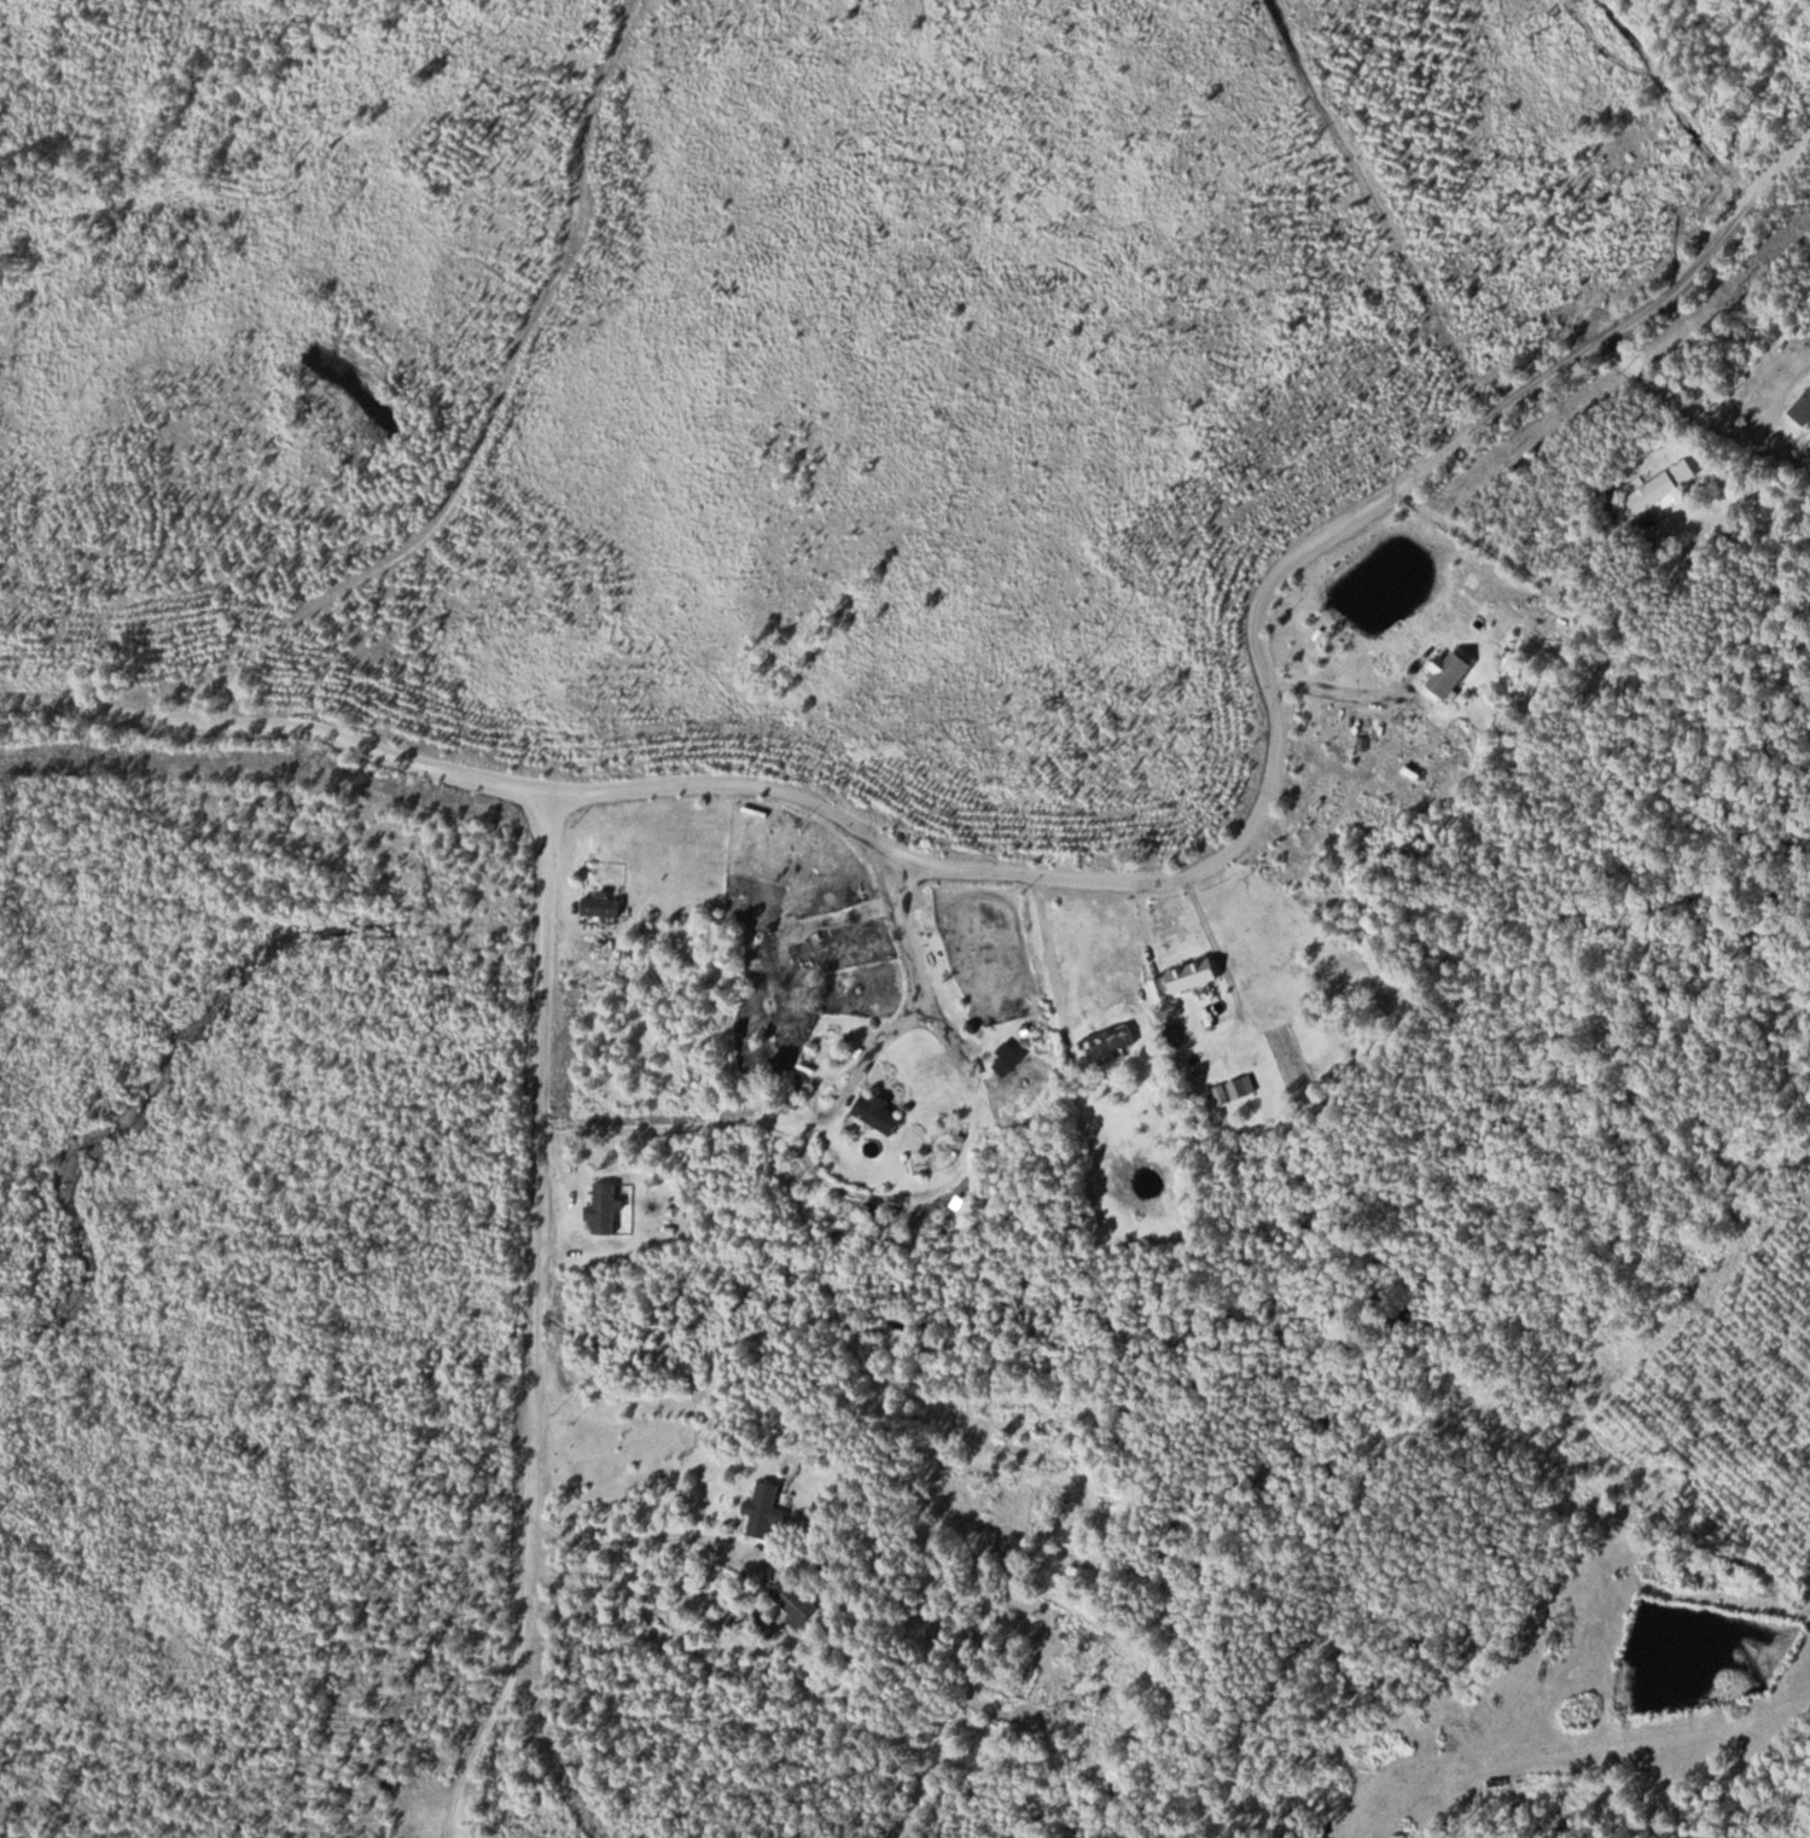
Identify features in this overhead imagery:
building: (1806, 414)
building: (1665, 487)
road: (1275, 722)
road: (275, 725)
building: (604, 906)
building: (843, 969)
building: (1188, 978)
building: (1113, 1043)
building: (1011, 1057)
building: (881, 1113)
building: (606, 1208)
road: (535, 1321)
building: (770, 1513)
building: (798, 1603)

